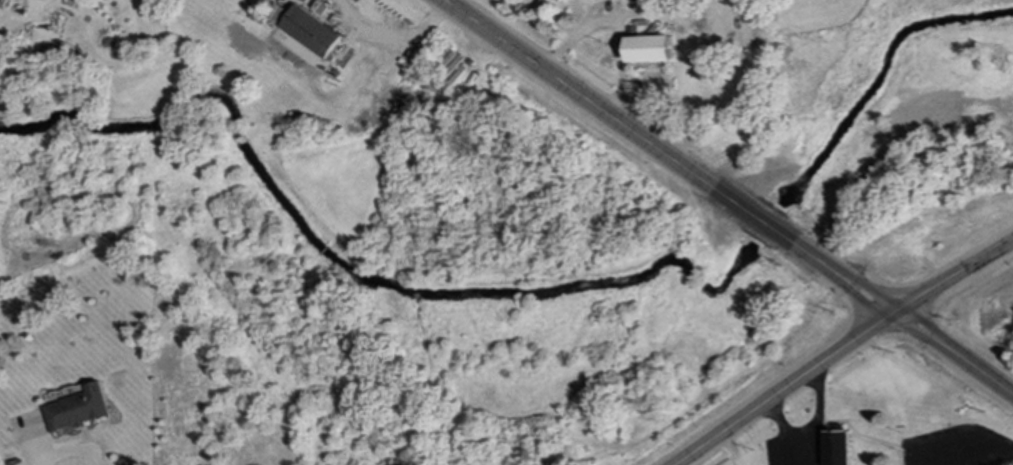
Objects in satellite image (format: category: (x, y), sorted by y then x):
building: (317, 33)
road: (390, 35)
building: (761, 36)
building: (663, 51)
road: (613, 118)
road: (922, 299)
road: (898, 315)
building: (83, 409)
road: (756, 411)
road: (814, 414)
road: (782, 434)
building: (834, 447)
road: (75, 450)
road: (992, 457)

